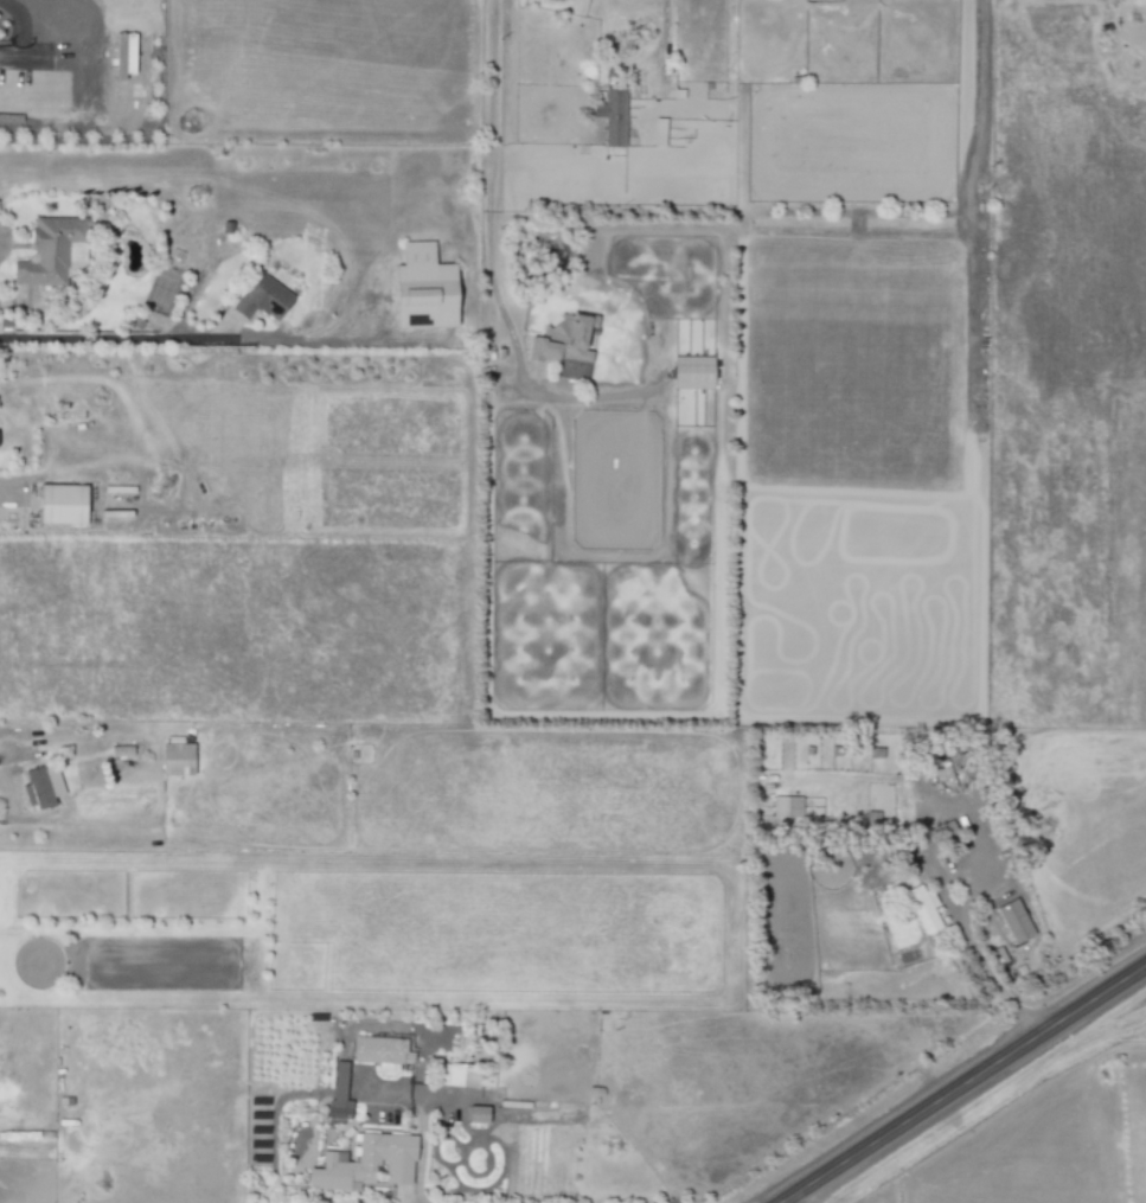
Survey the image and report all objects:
road: (658, 23)
road: (984, 27)
building: (122, 55)
road: (83, 66)
building: (610, 116)
building: (45, 251)
road: (489, 261)
building: (420, 288)
building: (260, 299)
road: (224, 337)
building: (561, 340)
building: (691, 372)
building: (59, 505)
building: (120, 751)
building: (174, 760)
building: (40, 787)
building: (785, 807)
road: (40, 818)
building: (922, 908)
building: (1012, 921)
road: (980, 962)
building: (380, 1052)
building: (463, 1076)
road: (963, 1084)
building: (337, 1095)
building: (475, 1113)
building: (363, 1163)
road: (408, 1195)

